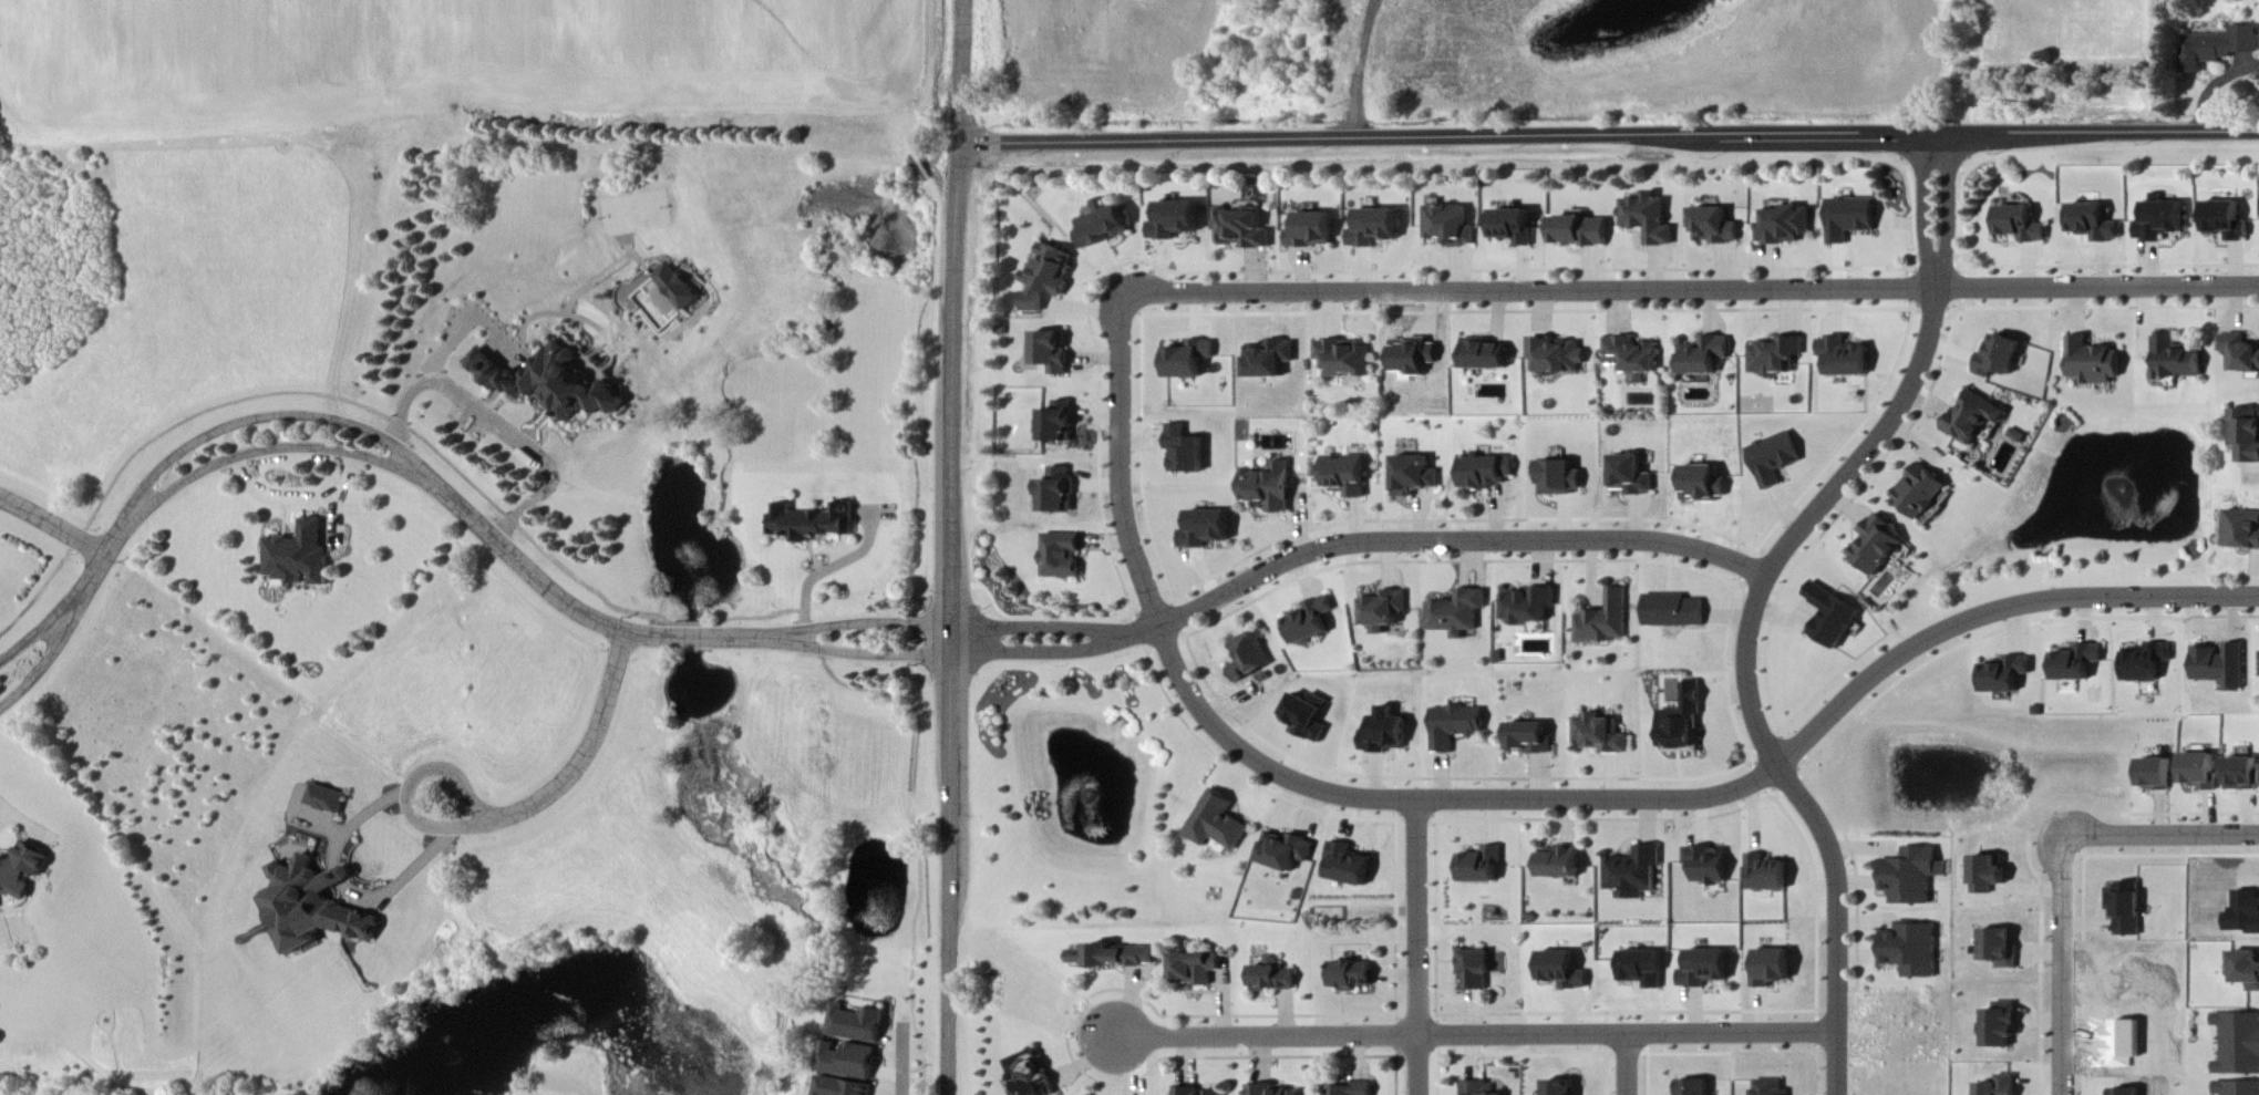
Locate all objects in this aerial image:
building: (2219, 48)
road: (1359, 69)
road: (2212, 84)
road: (1610, 136)
road: (1925, 206)
road: (1947, 206)
building: (1851, 218)
building: (1651, 219)
building: (1177, 220)
building: (2160, 220)
building: (2227, 220)
building: (2094, 223)
building: (2021, 224)
building: (1451, 226)
building: (1787, 226)
building: (1375, 227)
building: (1515, 227)
building: (1716, 227)
building: (1105, 228)
building: (1242, 229)
building: (1312, 230)
building: (1582, 231)
building: (1051, 277)
road: (1694, 291)
building: (1053, 353)
building: (2239, 353)
building: (1488, 355)
building: (1560, 355)
building: (1633, 355)
building: (1705, 357)
building: (1776, 357)
building: (2000, 357)
building: (1847, 358)
building: (1270, 359)
building: (1345, 359)
building: (2176, 360)
building: (1190, 361)
building: (2093, 361)
building: (551, 382)
road: (269, 417)
building: (1976, 419)
building: (1061, 423)
road: (501, 428)
building: (2246, 434)
building: (1187, 451)
road: (275, 452)
building: (1776, 459)
building: (1484, 474)
building: (1347, 476)
building: (1414, 476)
building: (1632, 476)
building: (1561, 478)
building: (1705, 484)
building: (1269, 486)
building: (1061, 490)
building: (1921, 492)
building: (813, 523)
road: (53, 526)
building: (1207, 529)
building: (2242, 530)
road: (1447, 541)
building: (1878, 546)
road: (952, 547)
building: (1064, 556)
road: (104, 558)
road: (828, 570)
building: (1530, 606)
building: (1385, 610)
building: (1675, 611)
building: (1459, 614)
building: (1834, 617)
building: (1607, 620)
building: (1310, 622)
road: (49, 624)
road: (604, 624)
road: (876, 626)
road: (1045, 630)
road: (54, 650)
road: (1048, 654)
road: (877, 655)
building: (1251, 660)
building: (2147, 662)
building: (2076, 663)
building: (2224, 665)
road: (1749, 669)
building: (2005, 675)
building: (1309, 717)
building: (1685, 724)
building: (1456, 726)
building: (1386, 732)
building: (1602, 735)
building: (1531, 738)
building: (2205, 772)
road: (571, 773)
building: (2160, 774)
building: (2245, 774)
building: (327, 799)
road: (1535, 800)
road: (442, 814)
road: (28, 823)
building: (1218, 824)
road: (2162, 837)
building: (1285, 851)
building: (1560, 864)
building: (1349, 866)
building: (1709, 866)
building: (1483, 867)
building: (22, 871)
building: (1634, 874)
building: (1768, 875)
building: (1991, 875)
road: (341, 877)
building: (1915, 877)
building: (313, 907)
building: (2129, 908)
building: (2247, 915)
road: (1417, 948)
building: (2002, 949)
building: (1914, 950)
building: (1114, 958)
road: (2064, 965)
building: (1196, 969)
building: (1646, 969)
building: (1708, 969)
building: (1774, 969)
building: (2249, 970)
building: (1475, 971)
building: (1564, 972)
building: (1351, 977)
building: (1273, 978)
building: (859, 1024)
building: (2004, 1026)
road: (1478, 1036)
building: (2241, 1045)
road: (904, 1060)
building: (850, 1062)
road: (1628, 1065)
building: (1034, 1075)
building: (2004, 1086)
building: (844, 1087)
building: (1696, 1087)
building: (1478, 1088)
building: (1562, 1088)
building: (1772, 1088)
building: (2239, 1088)
building: (1353, 1089)
building: (1269, 1091)
building: (2131, 1092)
building: (1200, 1093)

